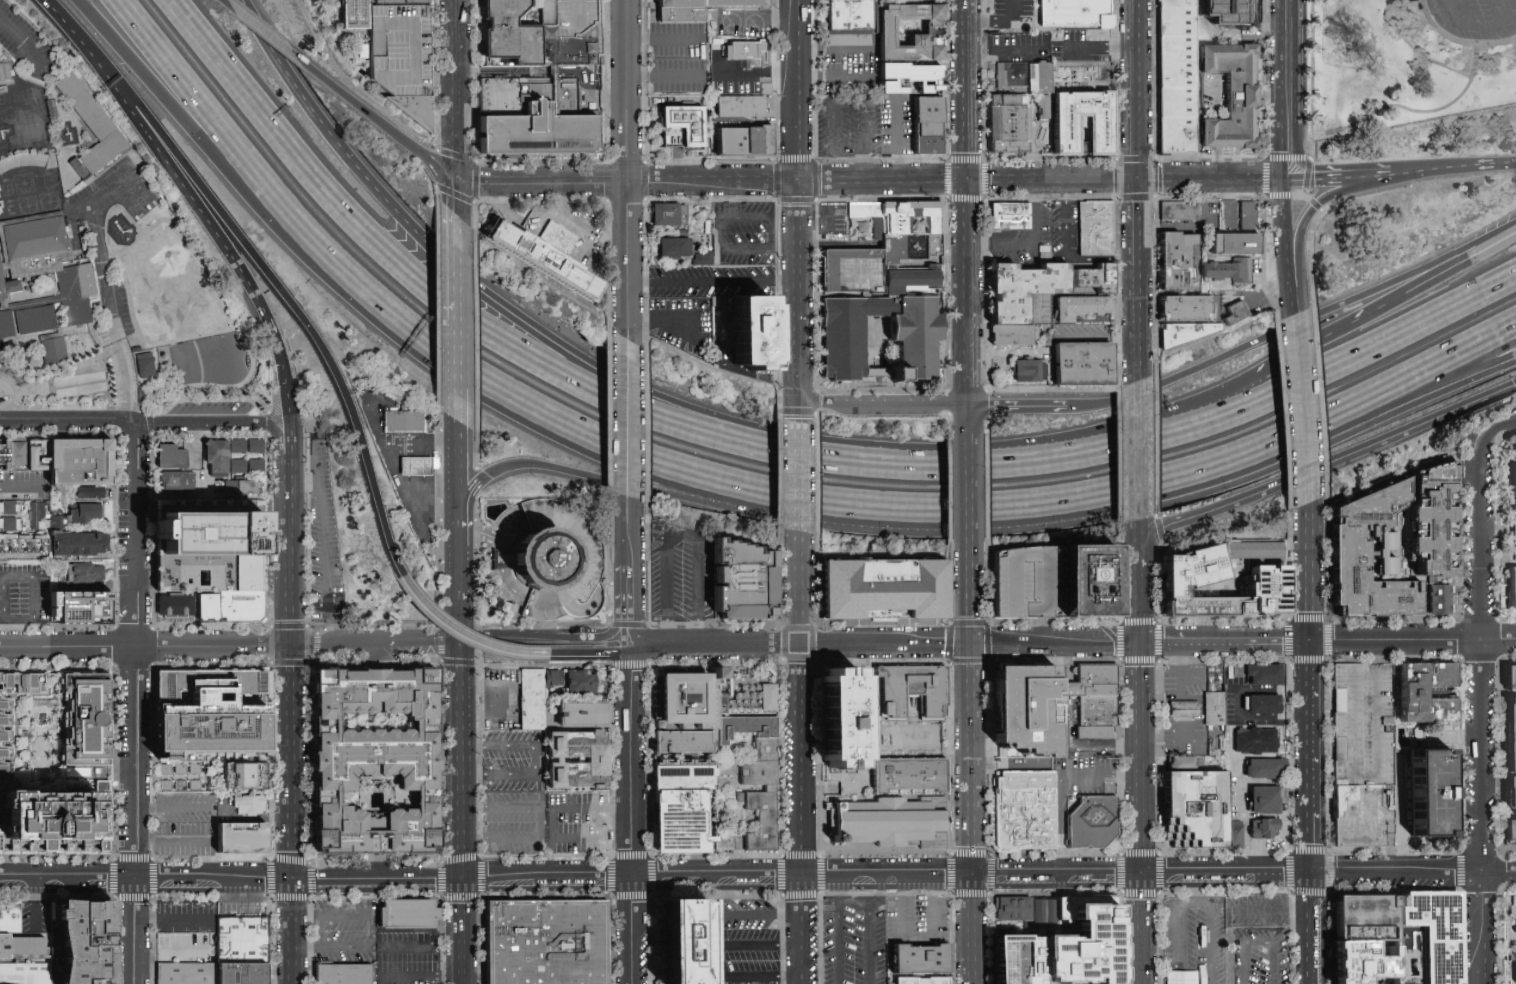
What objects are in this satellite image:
road: (223, 3)
building: (695, 8)
road: (1031, 11)
road: (989, 13)
building: (1078, 13)
building: (354, 14)
road: (1514, 18)
road: (757, 19)
parking lot: (1475, 19)
building: (853, 23)
road: (1486, 29)
building: (912, 31)
road: (268, 35)
building: (509, 36)
road: (661, 39)
road: (1457, 41)
road: (24, 44)
road: (1097, 45)
road: (84, 47)
road: (835, 49)
building: (744, 50)
road: (1002, 50)
building: (363, 51)
road: (1415, 54)
road: (1280, 55)
building: (403, 56)
road: (755, 72)
building: (1179, 74)
building: (6, 75)
building: (1026, 75)
park: (1418, 75)
road: (661, 76)
road: (1296, 76)
road: (834, 77)
building: (911, 79)
road: (1313, 79)
road: (455, 89)
road: (1136, 90)
road: (626, 91)
road: (796, 91)
parking lot: (1217, 94)
building: (1235, 95)
road: (849, 101)
building: (741, 108)
road: (365, 110)
road: (1439, 111)
road: (181, 113)
road: (1371, 115)
building: (1012, 121)
building: (929, 126)
building: (683, 127)
road: (1216, 128)
building: (540, 132)
building: (1105, 135)
building: (114, 139)
road: (896, 140)
building: (744, 143)
road: (1280, 145)
road: (1209, 159)
road: (1506, 165)
road: (440, 167)
road: (1458, 167)
road: (1354, 170)
road: (1264, 174)
road: (1350, 177)
traffic signals: (455, 178)
traffic signals: (1280, 180)
road: (540, 181)
road: (1037, 181)
traffic signals: (1137, 181)
traffic signals: (967, 182)
road: (711, 183)
road: (1306, 188)
road: (204, 189)
road: (455, 197)
road: (563, 197)
road: (1155, 197)
road: (1209, 197)
road: (1318, 204)
road: (967, 209)
building: (863, 210)
building: (1181, 212)
road: (832, 213)
building: (1248, 213)
building: (1012, 214)
building: (668, 215)
road: (718, 220)
road: (1137, 223)
building: (1097, 226)
building: (914, 232)
building: (560, 234)
building: (1240, 242)
road: (226, 243)
road: (843, 244)
road: (1489, 245)
road: (566, 246)
road: (1033, 246)
building: (674, 248)
road: (783, 248)
road: (1282, 248)
road: (1489, 248)
road: (100, 251)
road: (1065, 255)
road: (1308, 258)
road: (449, 259)
building: (702, 259)
building: (534, 260)
building: (1180, 260)
road: (626, 262)
building: (1232, 270)
road: (409, 273)
road: (455, 273)
building: (41, 279)
road: (711, 282)
building: (1044, 286)
road: (796, 303)
building: (1084, 306)
building: (1190, 307)
building: (1237, 314)
road: (1358, 318)
road: (660, 322)
road: (1137, 323)
road: (1295, 327)
road: (694, 328)
building: (1187, 331)
park: (164, 333)
building: (758, 334)
building: (1013, 334)
road: (1095, 339)
building: (885, 340)
road: (432, 348)
building: (57, 351)
road: (1006, 352)
building: (1087, 362)
building: (145, 364)
building: (1030, 369)
road: (756, 375)
road: (455, 376)
road: (1396, 380)
road: (127, 383)
park: (83, 384)
road: (1396, 399)
road: (1320, 400)
road: (881, 405)
road: (1016, 406)
road: (1298, 411)
road: (1234, 413)
road: (626, 419)
building: (410, 421)
road: (66, 422)
road: (1510, 422)
road: (198, 425)
road: (354, 425)
road: (284, 431)
road: (277, 433)
road: (1094, 434)
road: (195, 444)
building: (246, 447)
road: (283, 449)
road: (420, 450)
road: (1138, 451)
building: (17, 453)
building: (171, 457)
building: (215, 458)
road: (827, 460)
building: (83, 462)
road: (1328, 464)
building: (238, 466)
building: (421, 467)
gas station: (421, 467)
road: (456, 468)
road: (967, 474)
building: (1514, 474)
road: (797, 477)
road: (1392, 479)
road: (300, 482)
building: (245, 487)
road: (22, 488)
building: (89, 493)
road: (176, 494)
road: (471, 494)
road: (678, 494)
road: (1077, 496)
road: (1326, 501)
building: (10, 508)
building: (85, 513)
building: (37, 516)
building: (1433, 522)
building: (10, 524)
road: (1138, 530)
building: (1514, 530)
road: (675, 533)
road: (967, 541)
building: (88, 542)
road: (322, 543)
building: (24, 544)
building: (214, 547)
road: (286, 547)
building: (1256, 552)
road: (1138, 553)
building: (1368, 557)
road: (458, 558)
building: (547, 560)
road: (628, 573)
road: (1309, 573)
building: (86, 575)
building: (1193, 577)
helipad: (1108, 581)
building: (1026, 583)
building: (1106, 585)
road: (797, 588)
building: (744, 590)
building: (1512, 590)
building: (883, 594)
road: (33, 596)
road: (1, 598)
road: (967, 599)
building: (1438, 599)
building: (79, 604)
building: (173, 604)
road: (1139, 605)
building: (246, 607)
building: (212, 609)
parking lot: (1084, 614)
road: (430, 616)
traffic signals: (481, 636)
road: (1478, 638)
traffic signals: (434, 639)
road: (558, 639)
road: (1413, 639)
road: (402, 640)
traffic signals: (1312, 640)
road: (1225, 641)
traffic signals: (288, 643)
road: (311, 643)
traffic signals: (1140, 643)
road: (715, 644)
road: (1054, 644)
road: (883, 645)
road: (144, 646)
traffic signals: (968, 646)
road: (510, 652)
road: (591, 654)
road: (633, 666)
traffic signals: (461, 668)
road: (1181, 669)
building: (1265, 677)
building: (1512, 677)
building: (1088, 679)
road: (798, 680)
road: (1192, 680)
building: (572, 682)
building: (1098, 690)
road: (1269, 690)
building: (1412, 693)
building: (911, 695)
building: (532, 697)
road: (515, 700)
building: (771, 702)
road: (134, 704)
building: (690, 704)
building: (1265, 707)
building: (210, 710)
building: (1027, 710)
building: (1186, 710)
building: (1096, 711)
building: (1216, 713)
building: (582, 715)
road: (1261, 719)
building: (846, 721)
building: (1366, 725)
building: (89, 729)
road: (1183, 730)
road: (969, 731)
building: (1092, 732)
building: (1511, 733)
road: (1172, 740)
building: (1256, 742)
road: (1084, 743)
building: (582, 755)
road: (1141, 758)
road: (533, 759)
building: (376, 761)
building: (1268, 770)
building: (245, 774)
road: (1101, 774)
road: (1312, 775)
building: (912, 776)
road: (461, 792)
building: (1430, 793)
building: (1512, 795)
building: (1268, 802)
building: (252, 806)
road: (171, 807)
parking lot: (183, 808)
parking lot: (536, 809)
road: (557, 809)
building: (1024, 810)
building: (1197, 810)
road: (291, 813)
road: (1242, 815)
building: (1367, 816)
road: (541, 822)
building: (682, 822)
building: (760, 823)
building: (895, 824)
building: (1094, 824)
road: (1061, 825)
building: (1264, 829)
building: (1510, 832)
road: (633, 833)
parking lot: (184, 837)
building: (244, 838)
road: (576, 838)
road: (172, 839)
road: (970, 847)
road: (801, 849)
road: (1414, 871)
road: (1279, 872)
traffic signals: (1313, 872)
traffic signals: (1143, 873)
road: (1153, 873)
traffic signals: (462, 877)
road: (671, 877)
road: (1015, 877)
road: (230, 878)
traffic signals: (293, 878)
road: (889, 878)
road: (915, 878)
road: (950, 878)
traffic signals: (970, 878)
road: (239, 889)
road: (836, 892)
road: (241, 901)
road: (1193, 903)
road: (36, 904)
road: (1143, 904)
parking lot: (244, 907)
building: (1011, 908)
road: (899, 909)
road: (931, 909)
building: (1036, 909)
building: (1047, 909)
road: (1483, 909)
road: (1262, 910)
road: (1302, 910)
parking lot: (1260, 911)
building: (407, 914)
road: (741, 914)
road: (170, 915)
parking lot: (184, 915)
road: (372, 916)
building: (12, 918)
building: (1366, 919)
parking lot: (343, 927)
road: (868, 928)
road: (837, 929)
road: (970, 931)
road: (1291, 933)
building: (1430, 934)
parking lot: (880, 935)
parking lot: (1197, 939)
building: (1510, 939)
building: (86, 941)
building: (244, 941)
building: (690, 942)
building: (549, 943)
parking lot: (746, 943)
building: (1063, 945)
building: (21, 946)
road: (305, 946)
parking lot: (185, 947)
road: (1313, 947)
road: (423, 948)
road: (1242, 949)
parking lot: (1260, 955)
parking lot: (409, 959)
building: (926, 959)
road: (1143, 959)
road: (721, 960)
road: (1271, 963)
building: (1367, 963)
road: (1483, 965)
building: (345, 972)
building: (189, 974)
building: (244, 974)
building: (26, 975)
road: (420, 978)
building: (927, 981)

